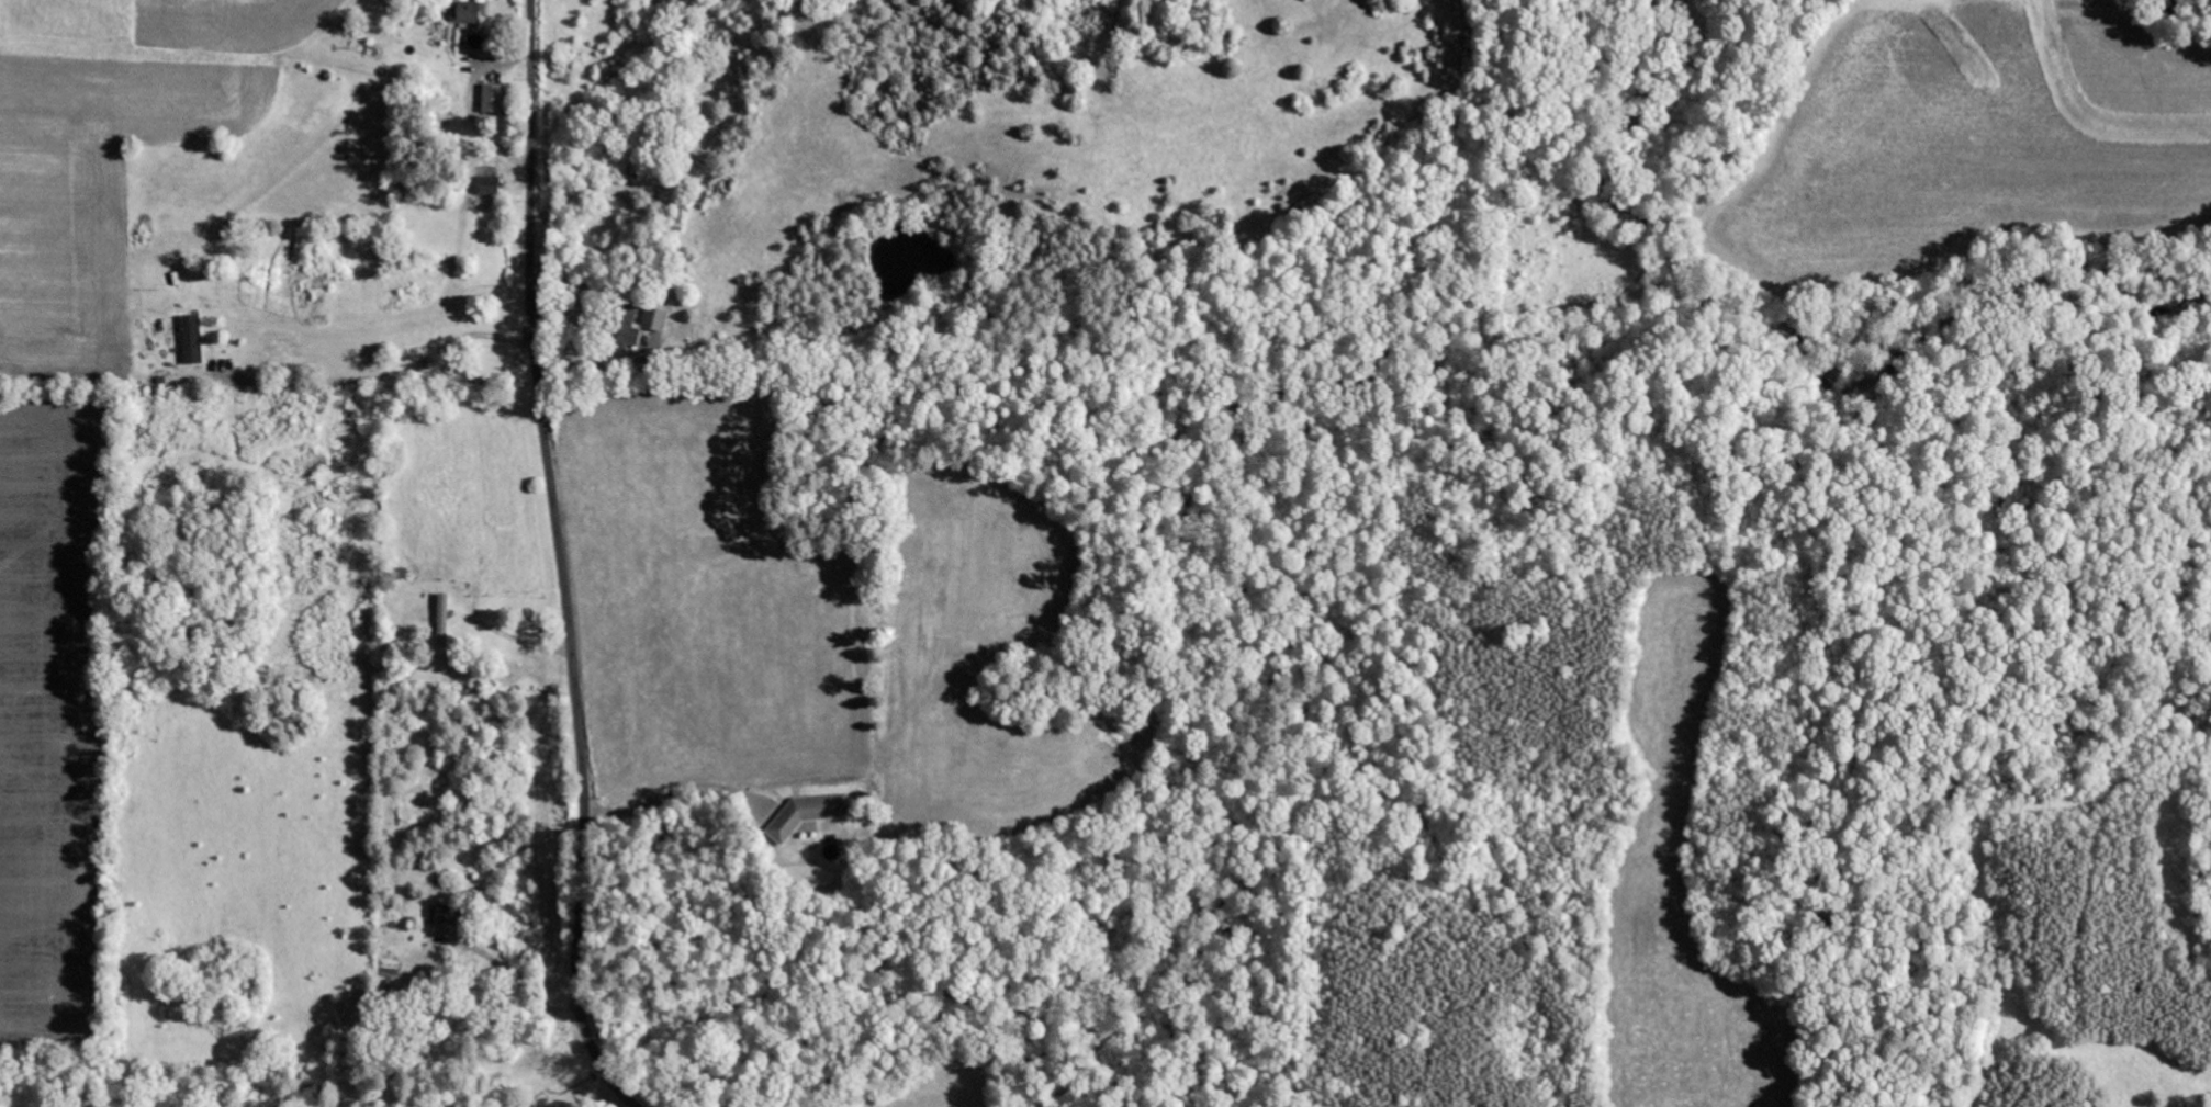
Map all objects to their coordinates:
building: (469, 12)
road: (263, 35)
building: (495, 100)
building: (491, 187)
building: (643, 324)
building: (193, 341)
road: (561, 562)
building: (445, 622)
building: (810, 812)
building: (445, 915)

